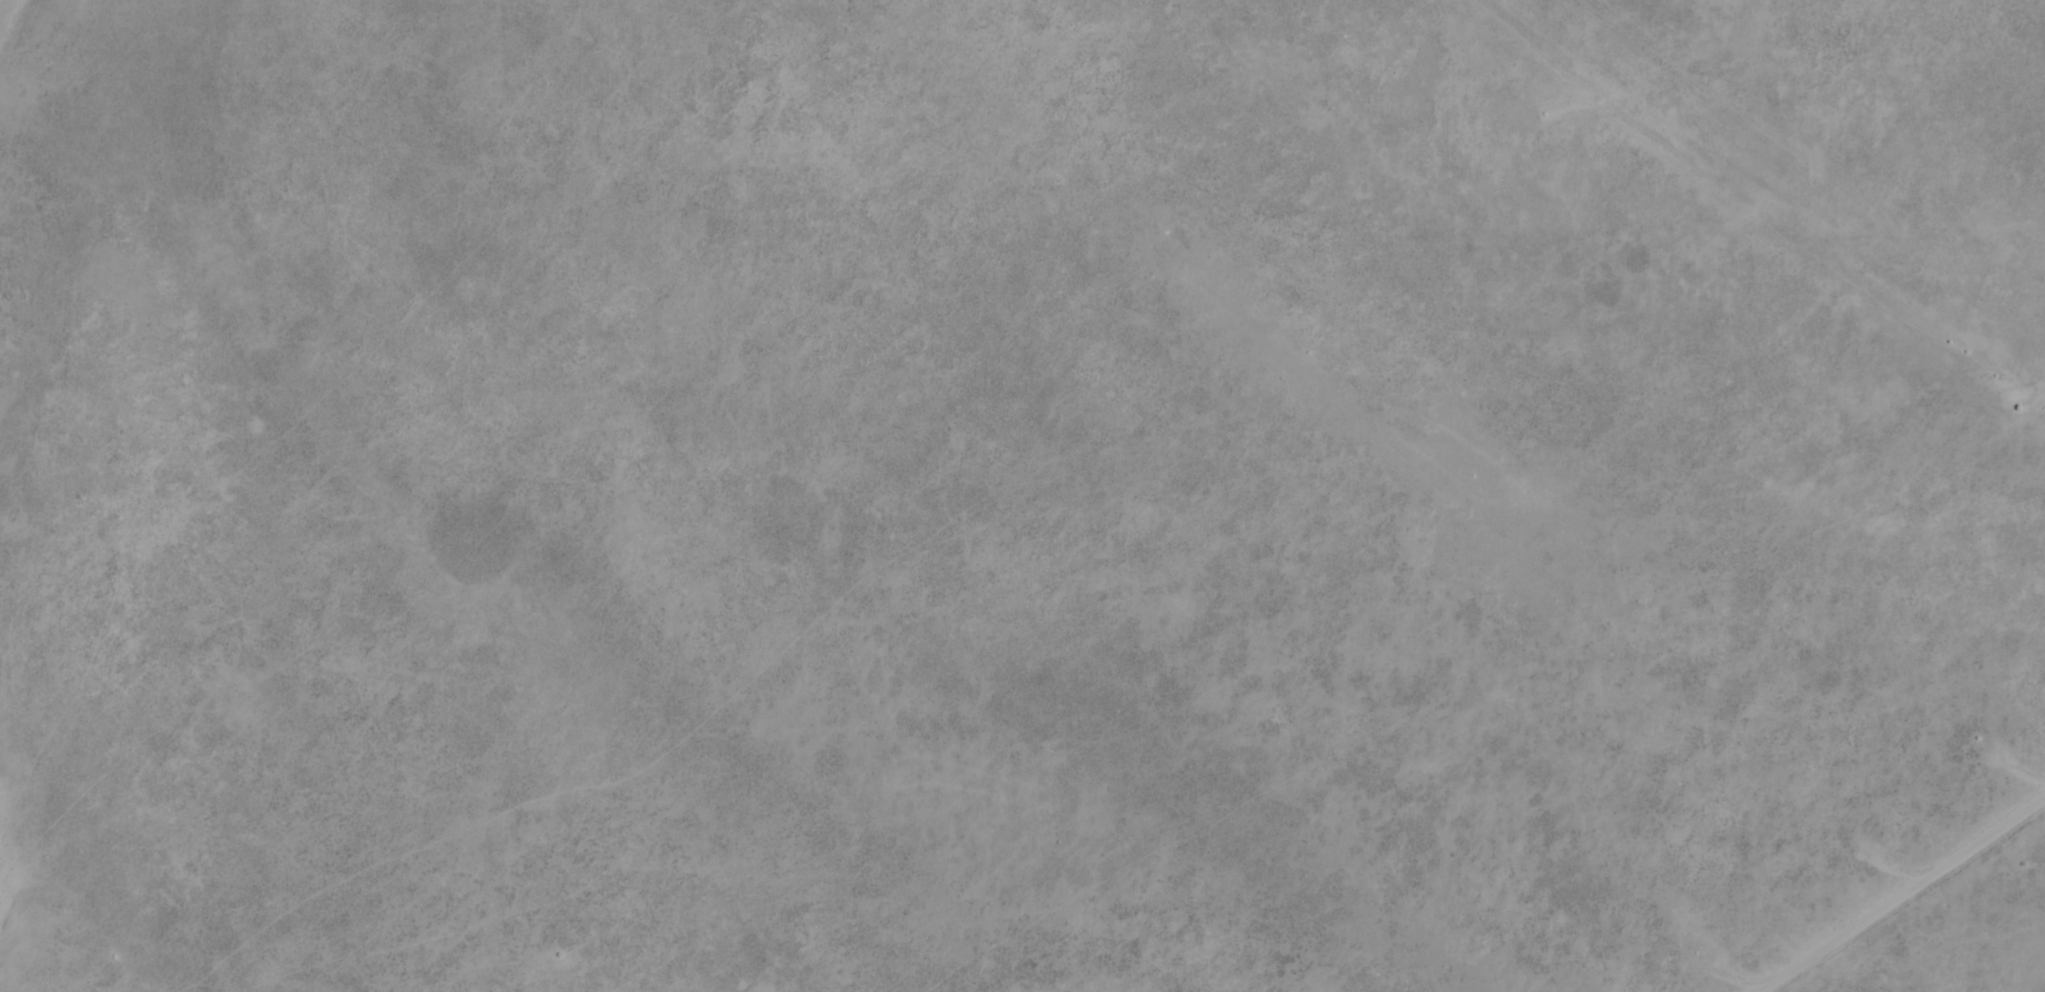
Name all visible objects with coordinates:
road: (1166, 490)
road: (1897, 876)

